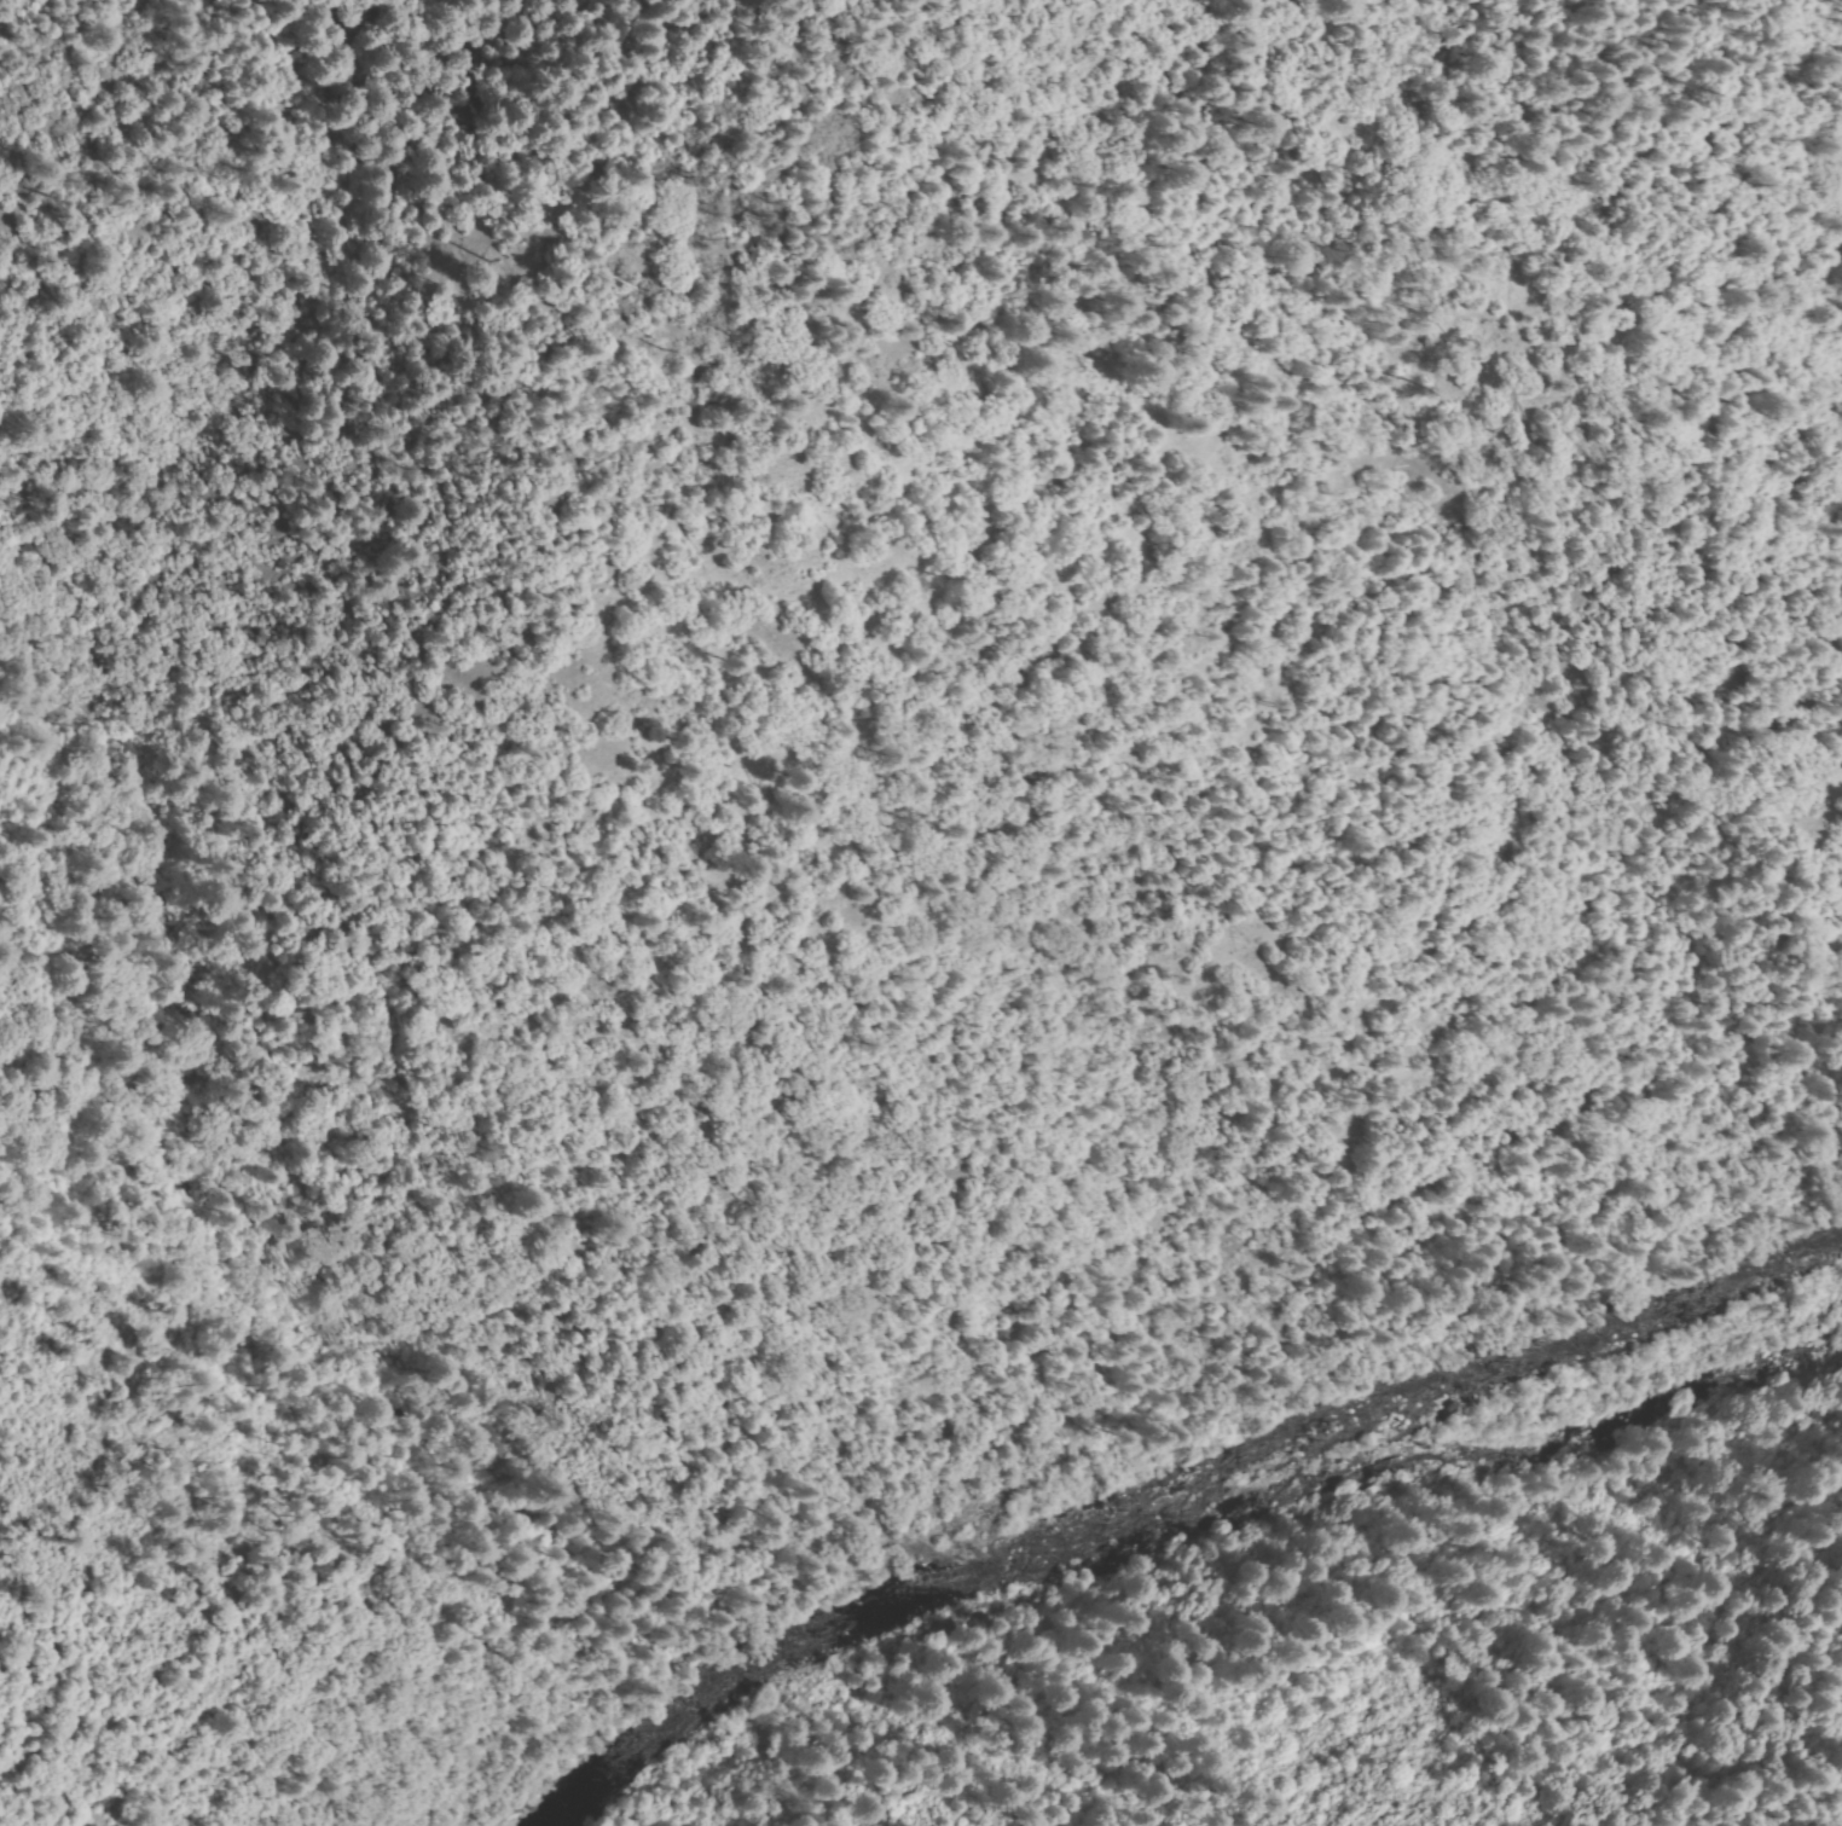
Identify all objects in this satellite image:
road: (1763, 1795)

